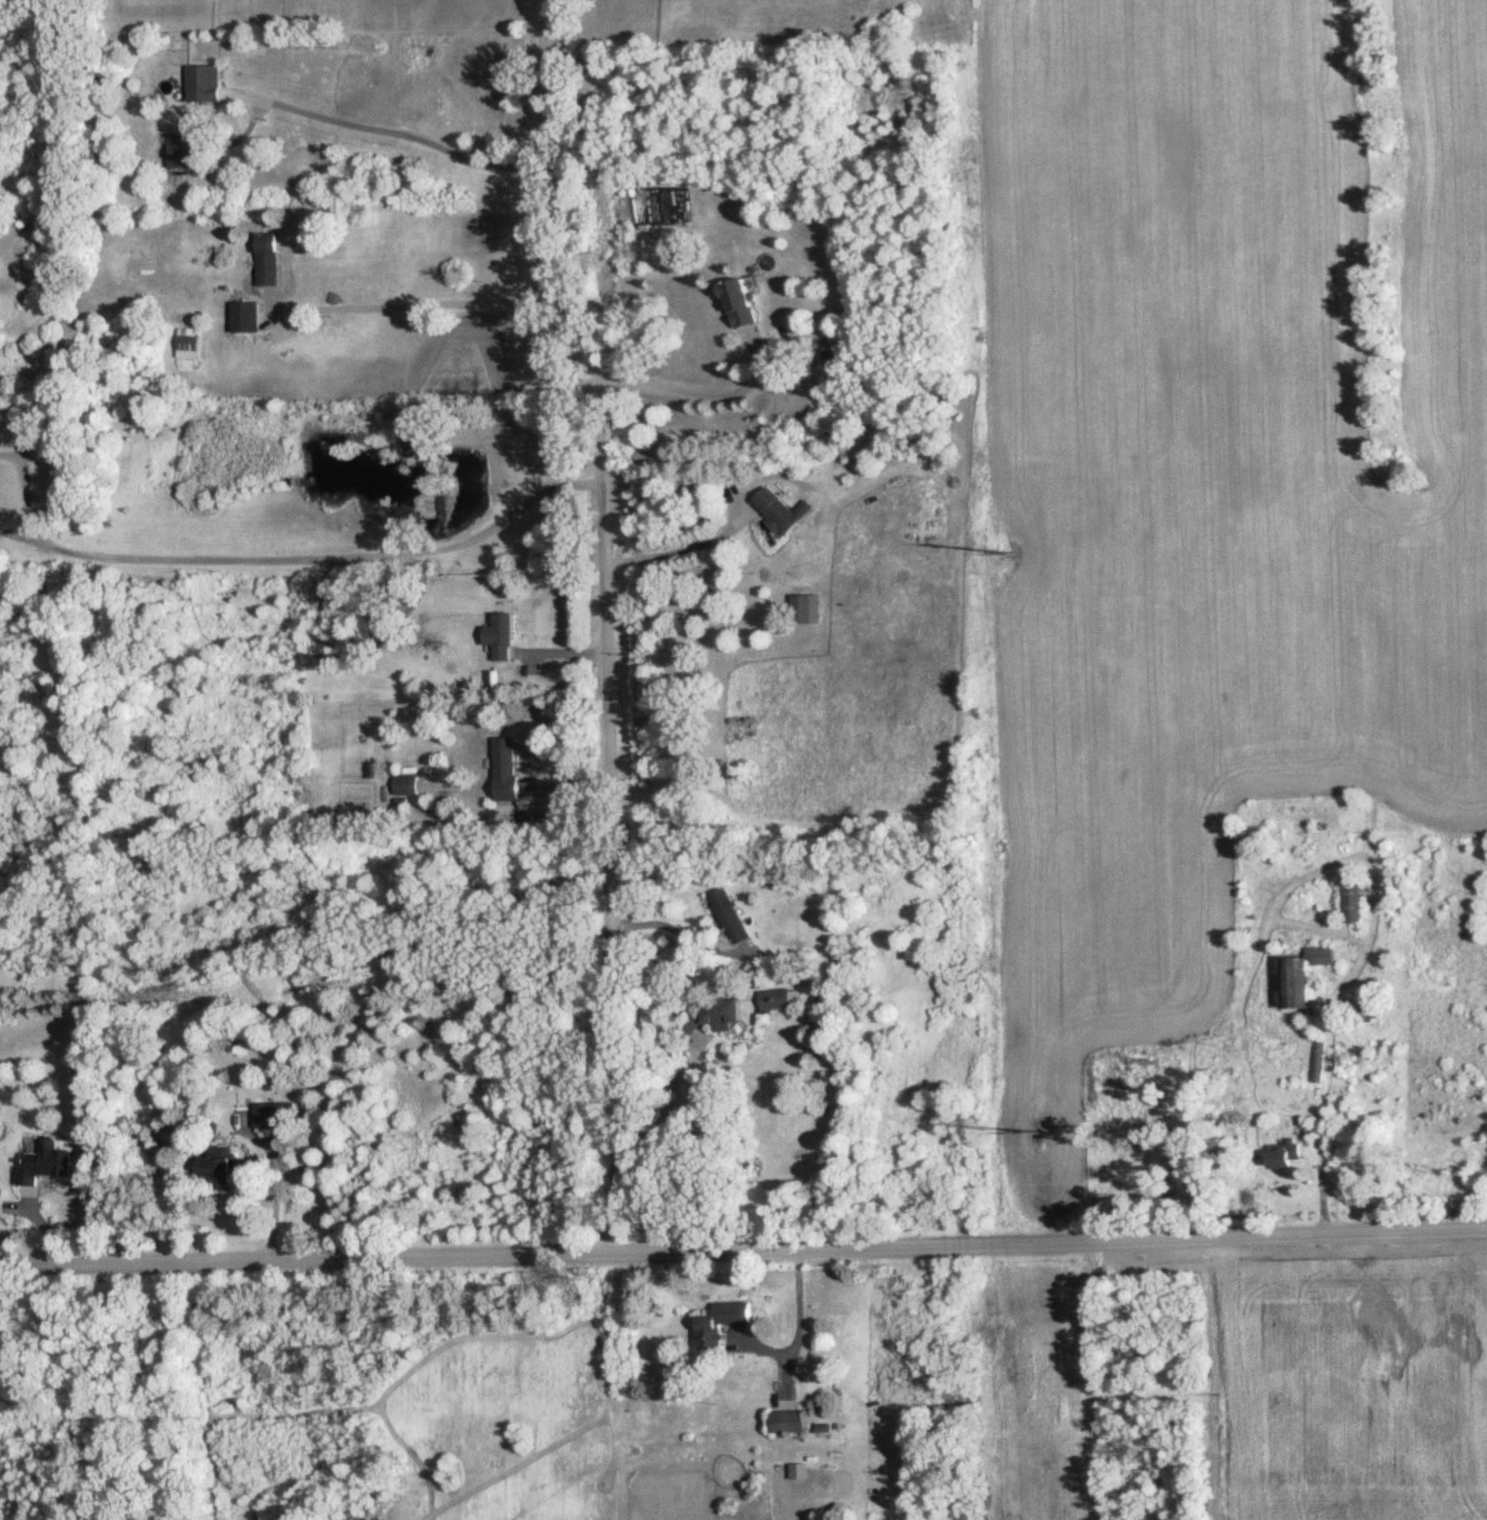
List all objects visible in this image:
building: (202, 82)
road: (385, 133)
building: (266, 259)
road: (416, 301)
building: (735, 303)
building: (244, 317)
building: (188, 343)
building: (835, 358)
road: (693, 388)
building: (775, 510)
road: (682, 549)
power tower: (1018, 552)
road: (281, 559)
building: (804, 608)
road: (601, 620)
building: (499, 636)
building: (504, 770)
building: (405, 784)
building: (1350, 899)
building: (730, 915)
road: (683, 934)
building: (1300, 975)
building: (773, 999)
building: (712, 1014)
building: (239, 1058)
road: (672, 1098)
building: (274, 1114)
power tower: (1041, 1133)
building: (1276, 1158)
building: (43, 1162)
building: (216, 1166)
road: (275, 1184)
road: (743, 1244)
road: (798, 1300)
building: (705, 1330)
building: (786, 1420)

